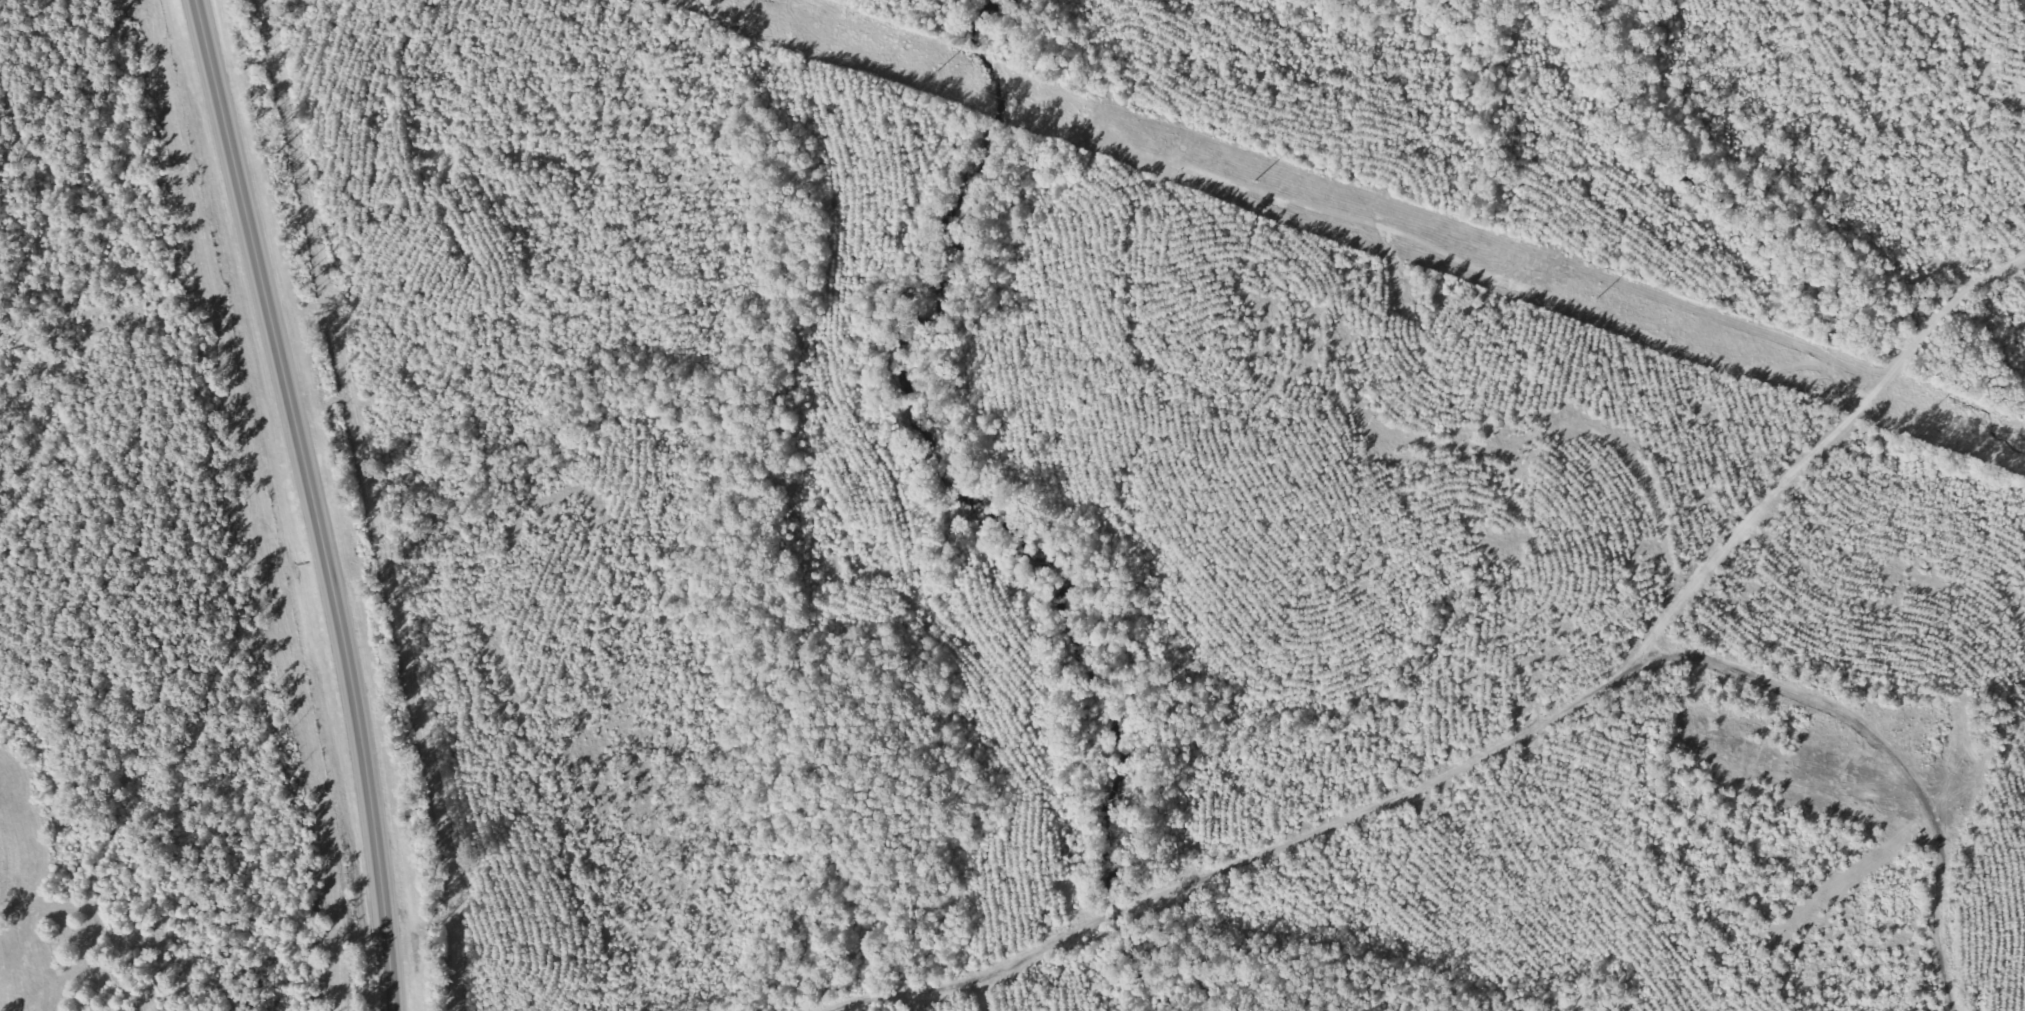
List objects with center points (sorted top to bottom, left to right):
road: (312, 502)

